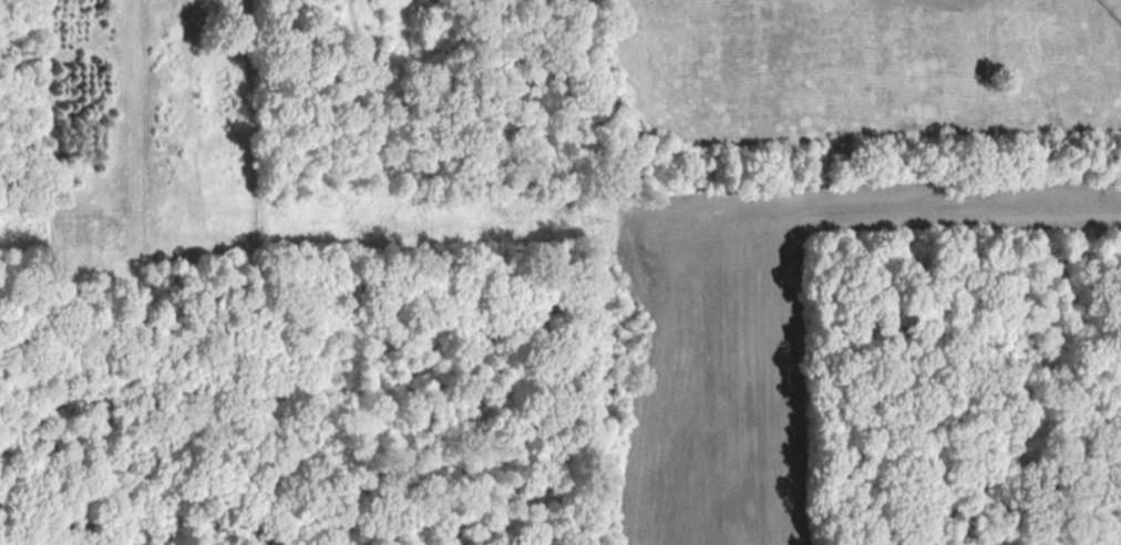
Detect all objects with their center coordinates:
crop: (867, 70)
building: (476, 230)
crop: (759, 346)

